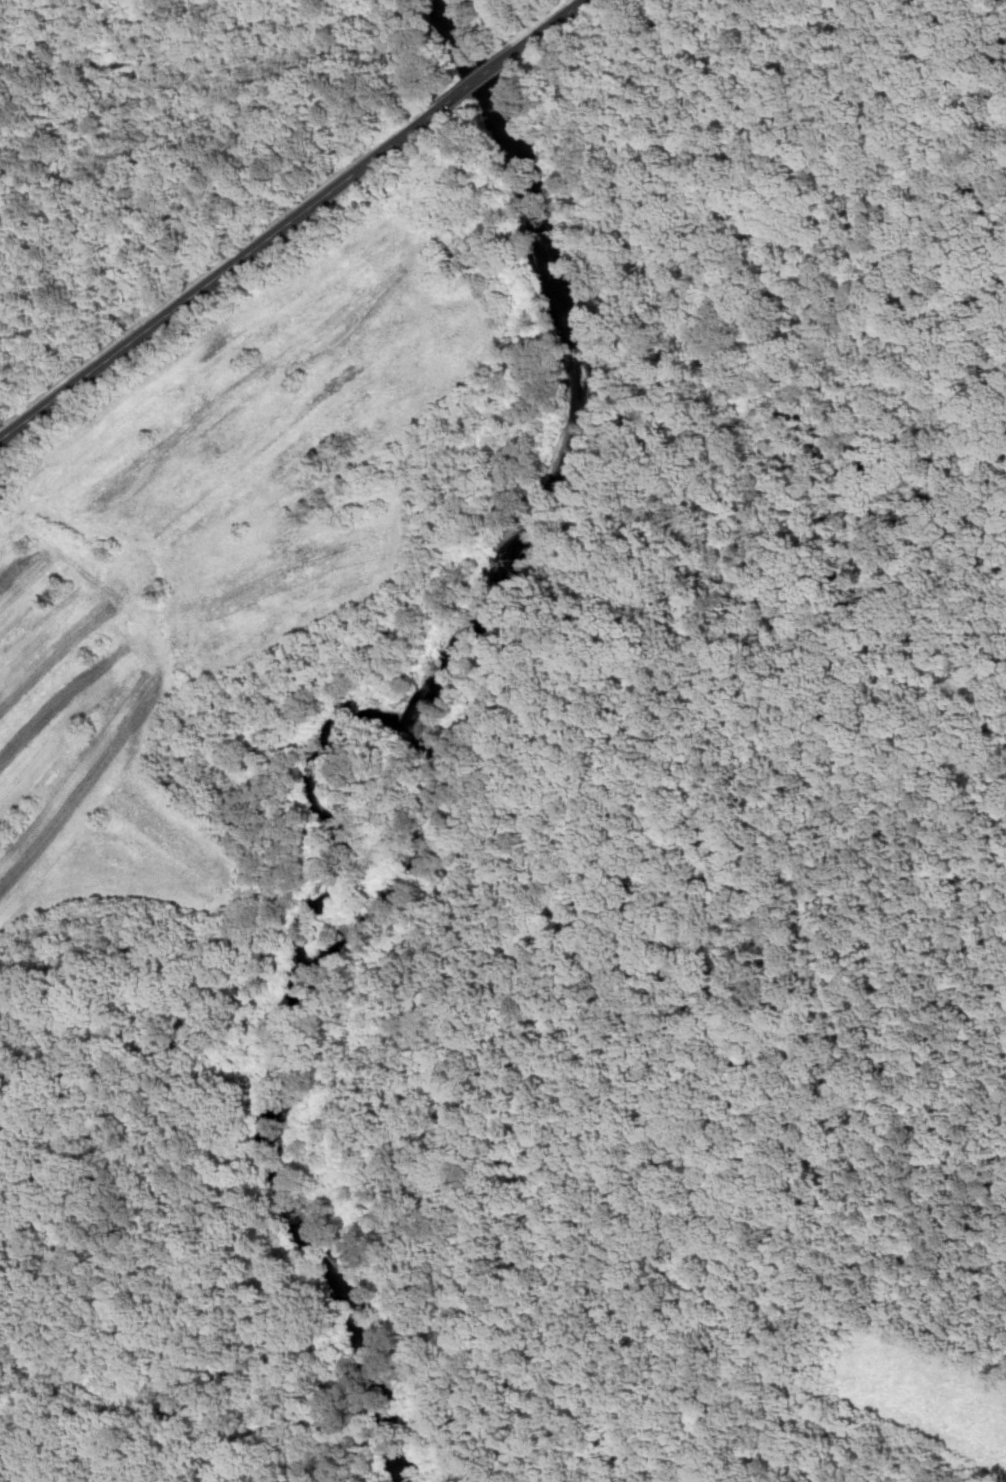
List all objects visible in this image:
road: (556, 22)
road: (488, 73)
road: (224, 270)
river: (374, 727)
building: (33, 1481)

